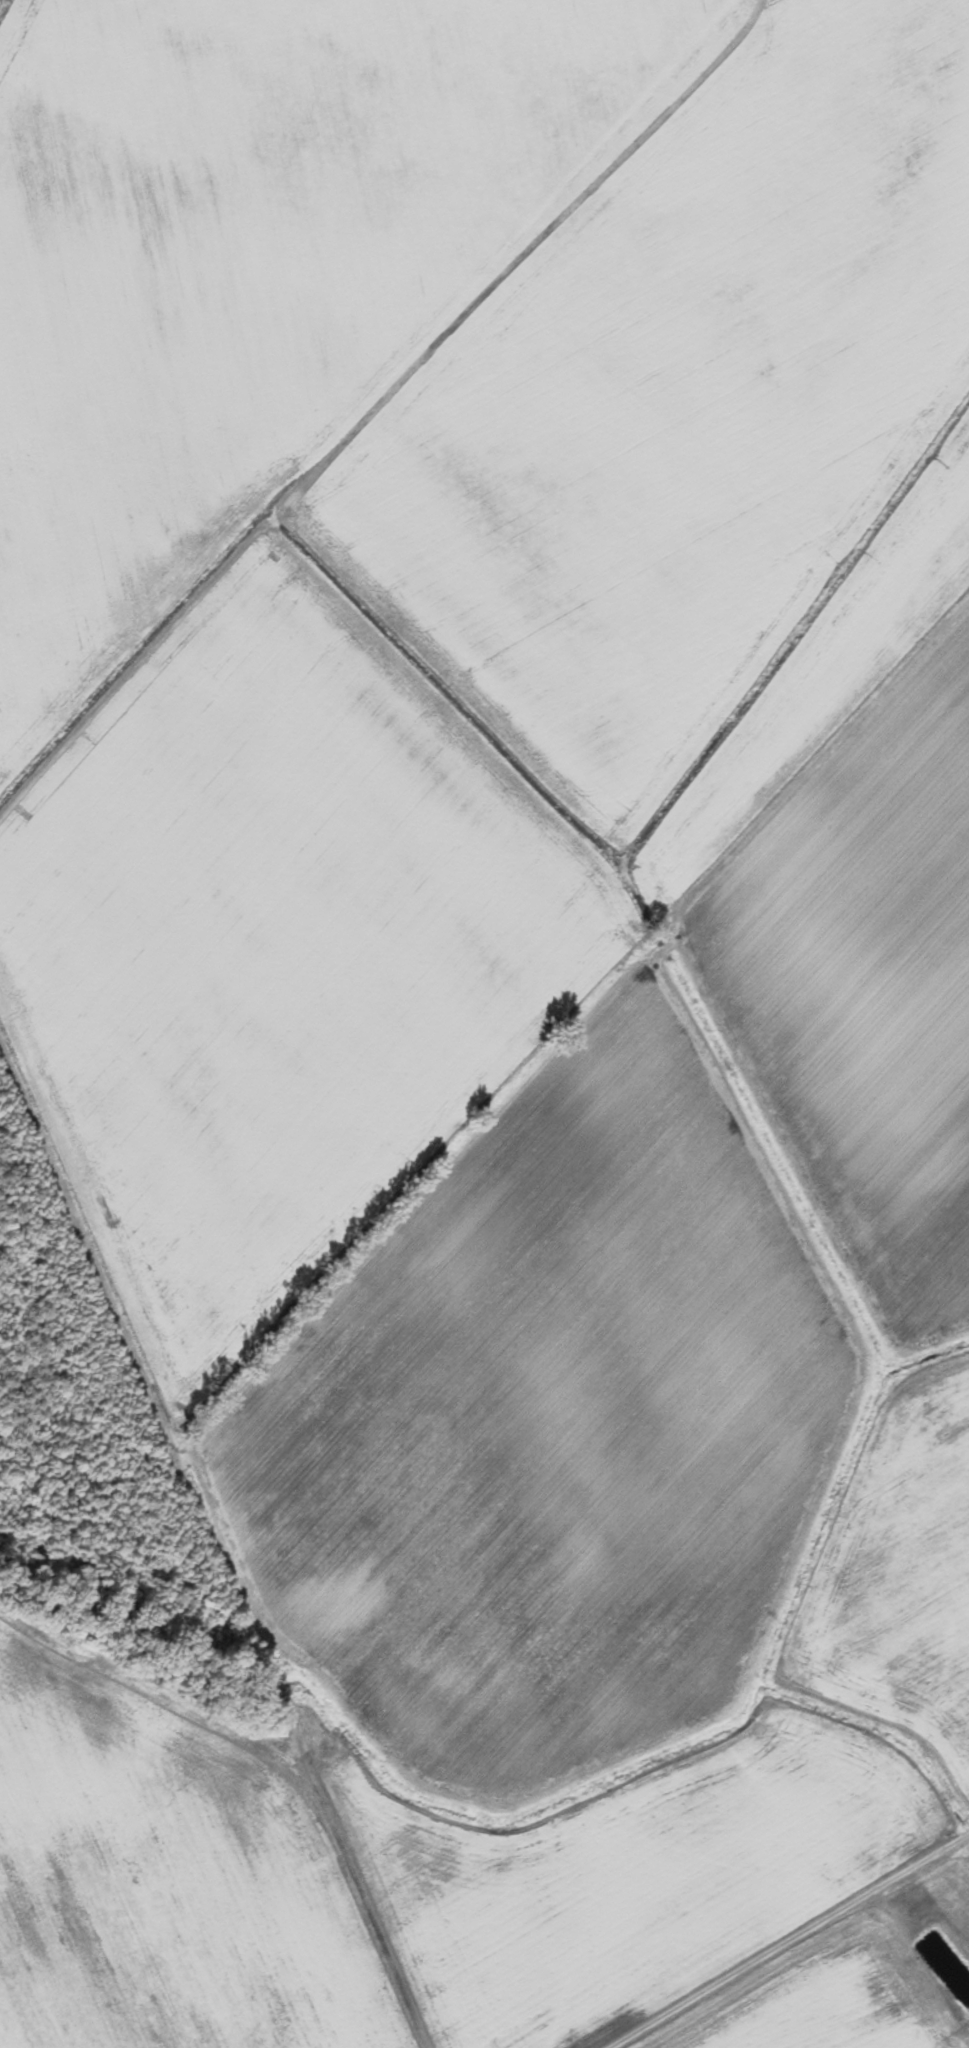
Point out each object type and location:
road: (238, 1494)
road: (825, 1957)

